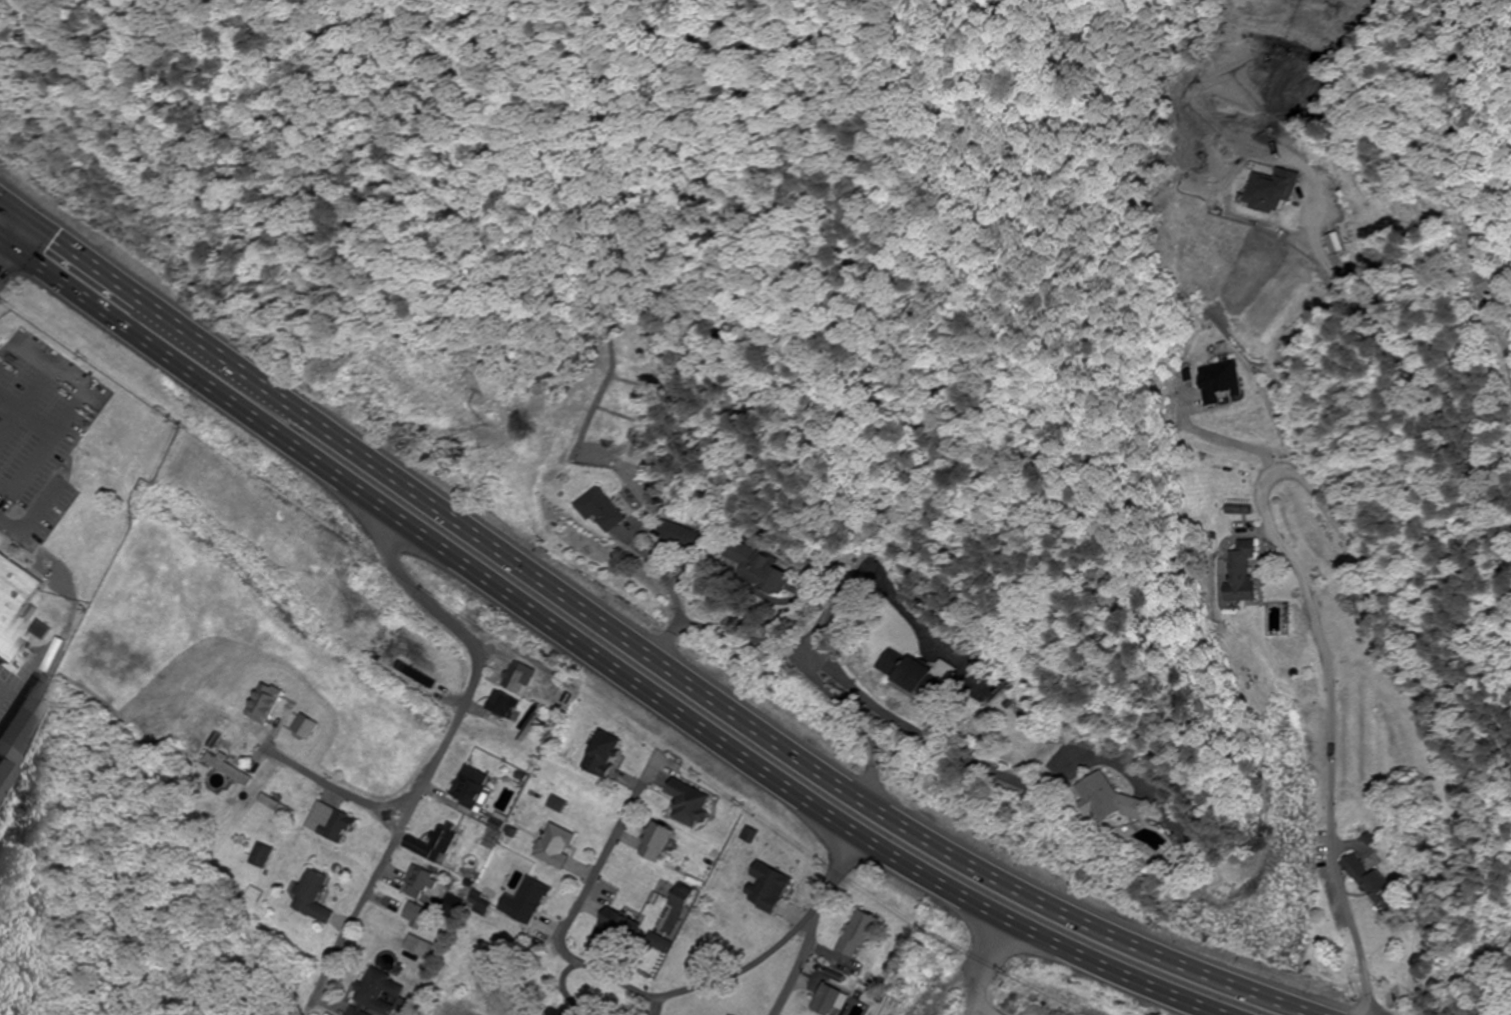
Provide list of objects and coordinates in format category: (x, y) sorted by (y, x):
building: (1270, 192)
traffic signals: (31, 222)
road: (15, 247)
traffic signals: (15, 248)
road: (0, 272)
building: (1213, 351)
road: (1415, 382)
road: (639, 506)
building: (1238, 510)
building: (603, 511)
building: (681, 538)
road: (1293, 550)
building: (739, 553)
building: (1242, 574)
building: (767, 579)
road: (421, 594)
building: (16, 595)
road: (881, 597)
road: (635, 646)
road: (594, 655)
road: (791, 657)
building: (917, 675)
building: (417, 676)
building: (518, 679)
building: (267, 705)
building: (504, 706)
building: (18, 719)
road: (861, 725)
building: (308, 728)
road: (932, 741)
building: (604, 756)
building: (231, 771)
road: (339, 786)
road: (421, 792)
building: (469, 793)
building: (1111, 802)
building: (275, 804)
building: (689, 804)
building: (557, 805)
building: (334, 823)
building: (658, 843)
building: (435, 845)
building: (557, 846)
building: (266, 857)
road: (601, 871)
building: (424, 882)
building: (1376, 886)
building: (769, 888)
building: (317, 898)
building: (684, 898)
building: (530, 902)
building: (482, 904)
building: (424, 916)
road: (816, 922)
building: (614, 928)
building: (861, 935)
building: (424, 948)
road: (986, 970)
road: (693, 989)
building: (382, 995)
building: (831, 1001)
building: (571, 1013)

